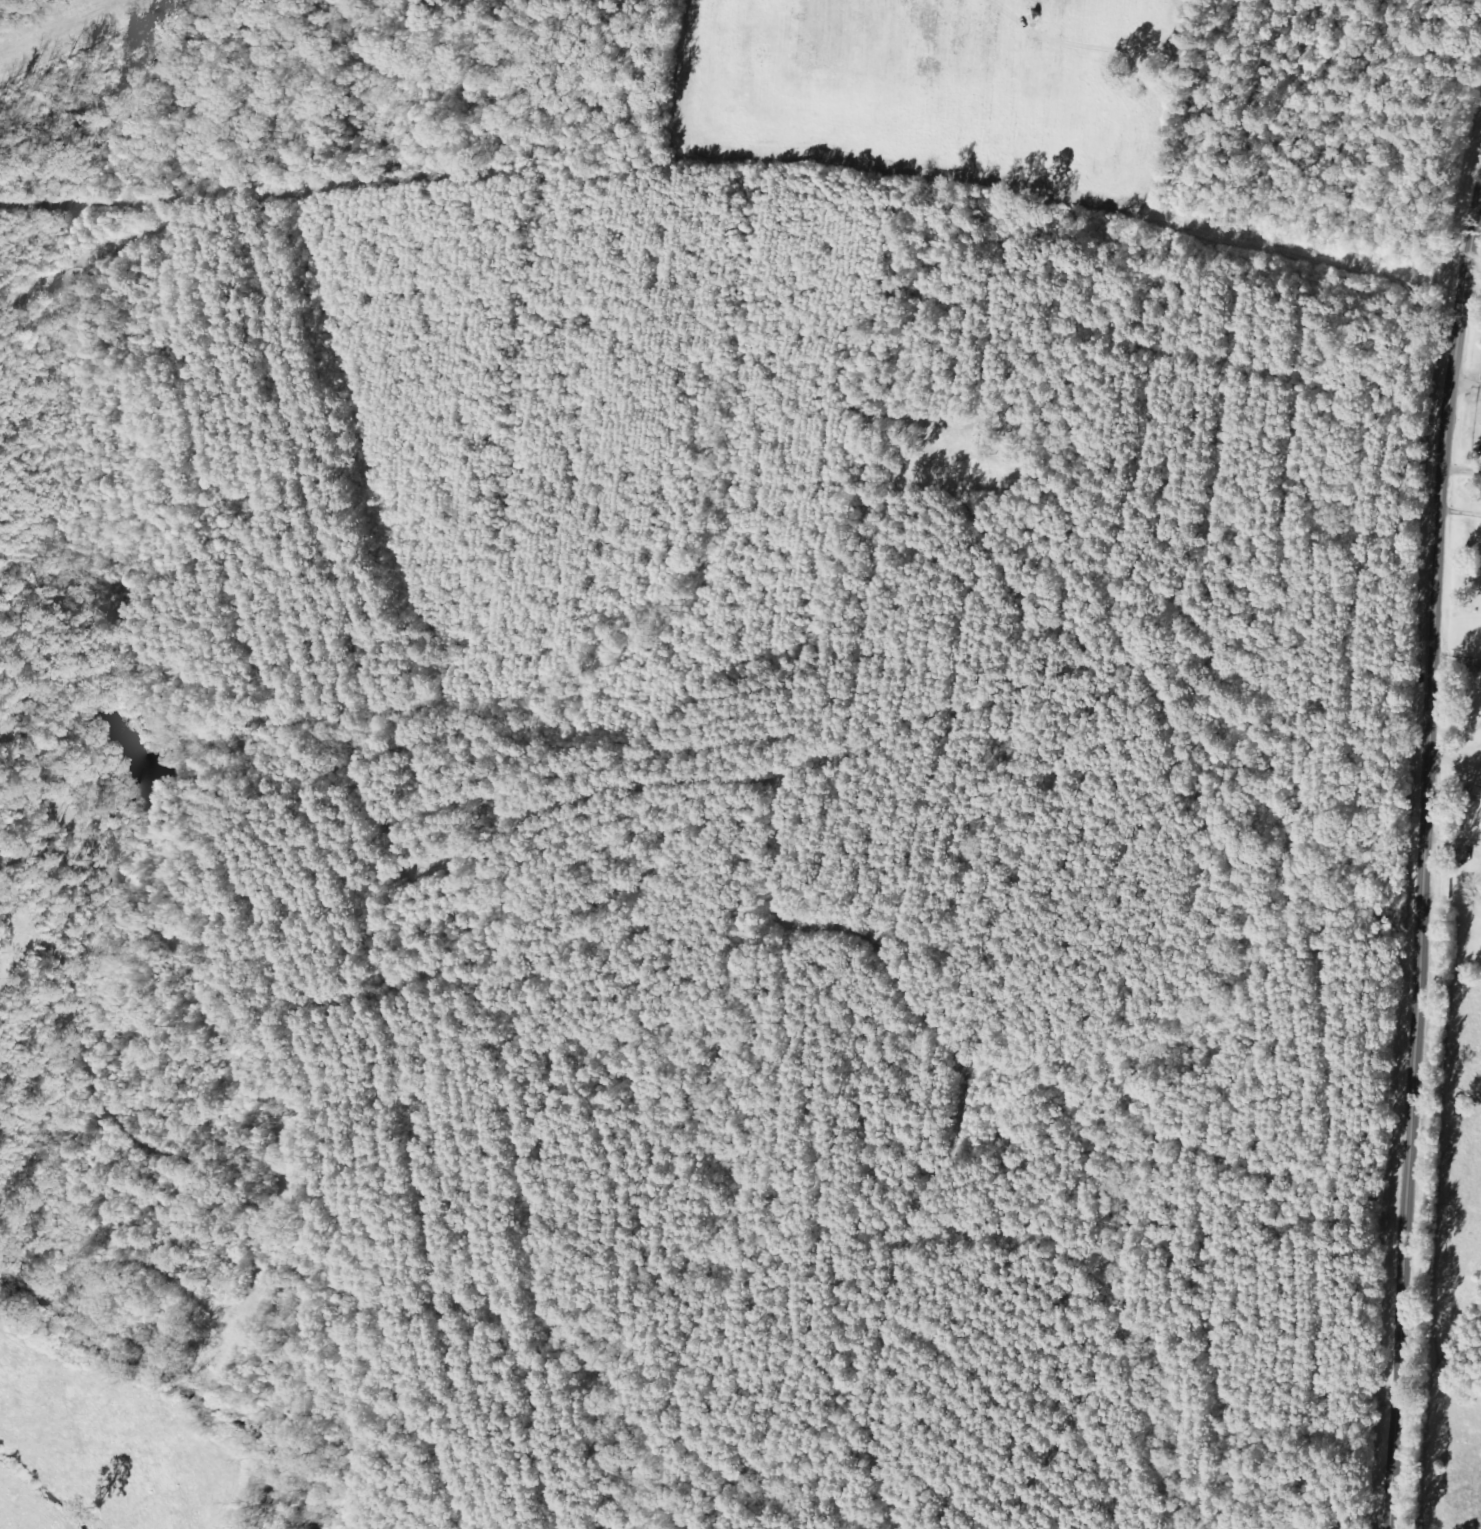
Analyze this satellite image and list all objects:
road: (1459, 590)
road: (1424, 849)

